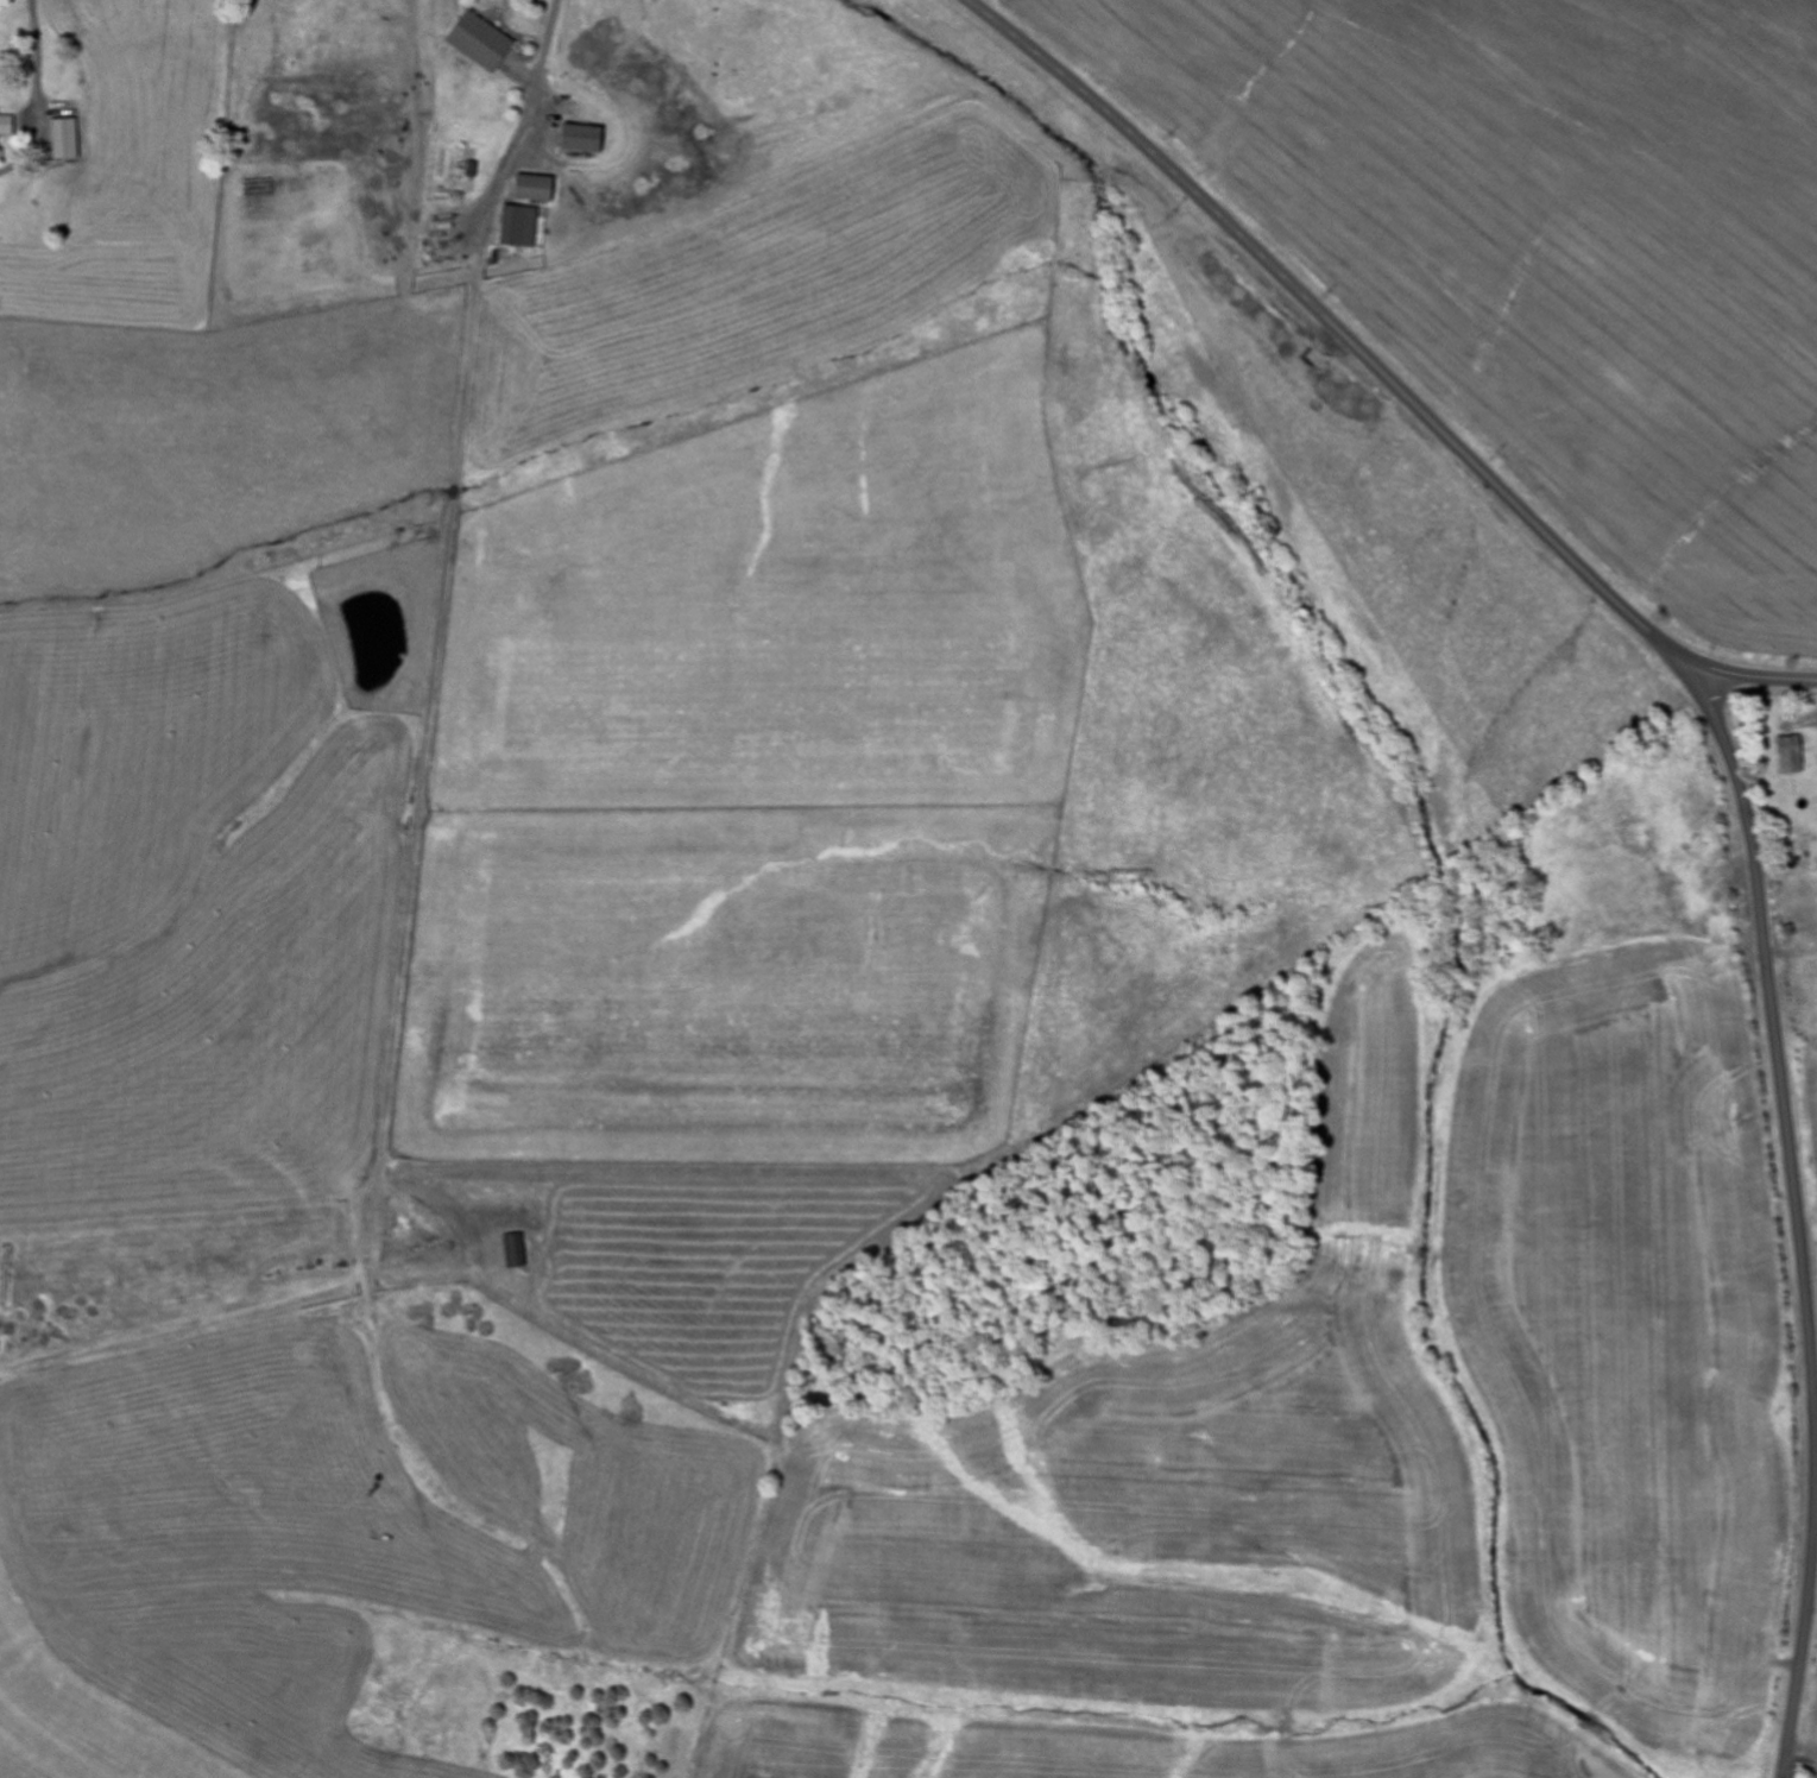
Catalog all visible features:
building: (477, 43)
building: (6, 127)
building: (64, 141)
building: (579, 141)
building: (531, 191)
building: (515, 228)
road: (1380, 368)
building: (1787, 756)
road: (1796, 1209)
building: (511, 1253)

